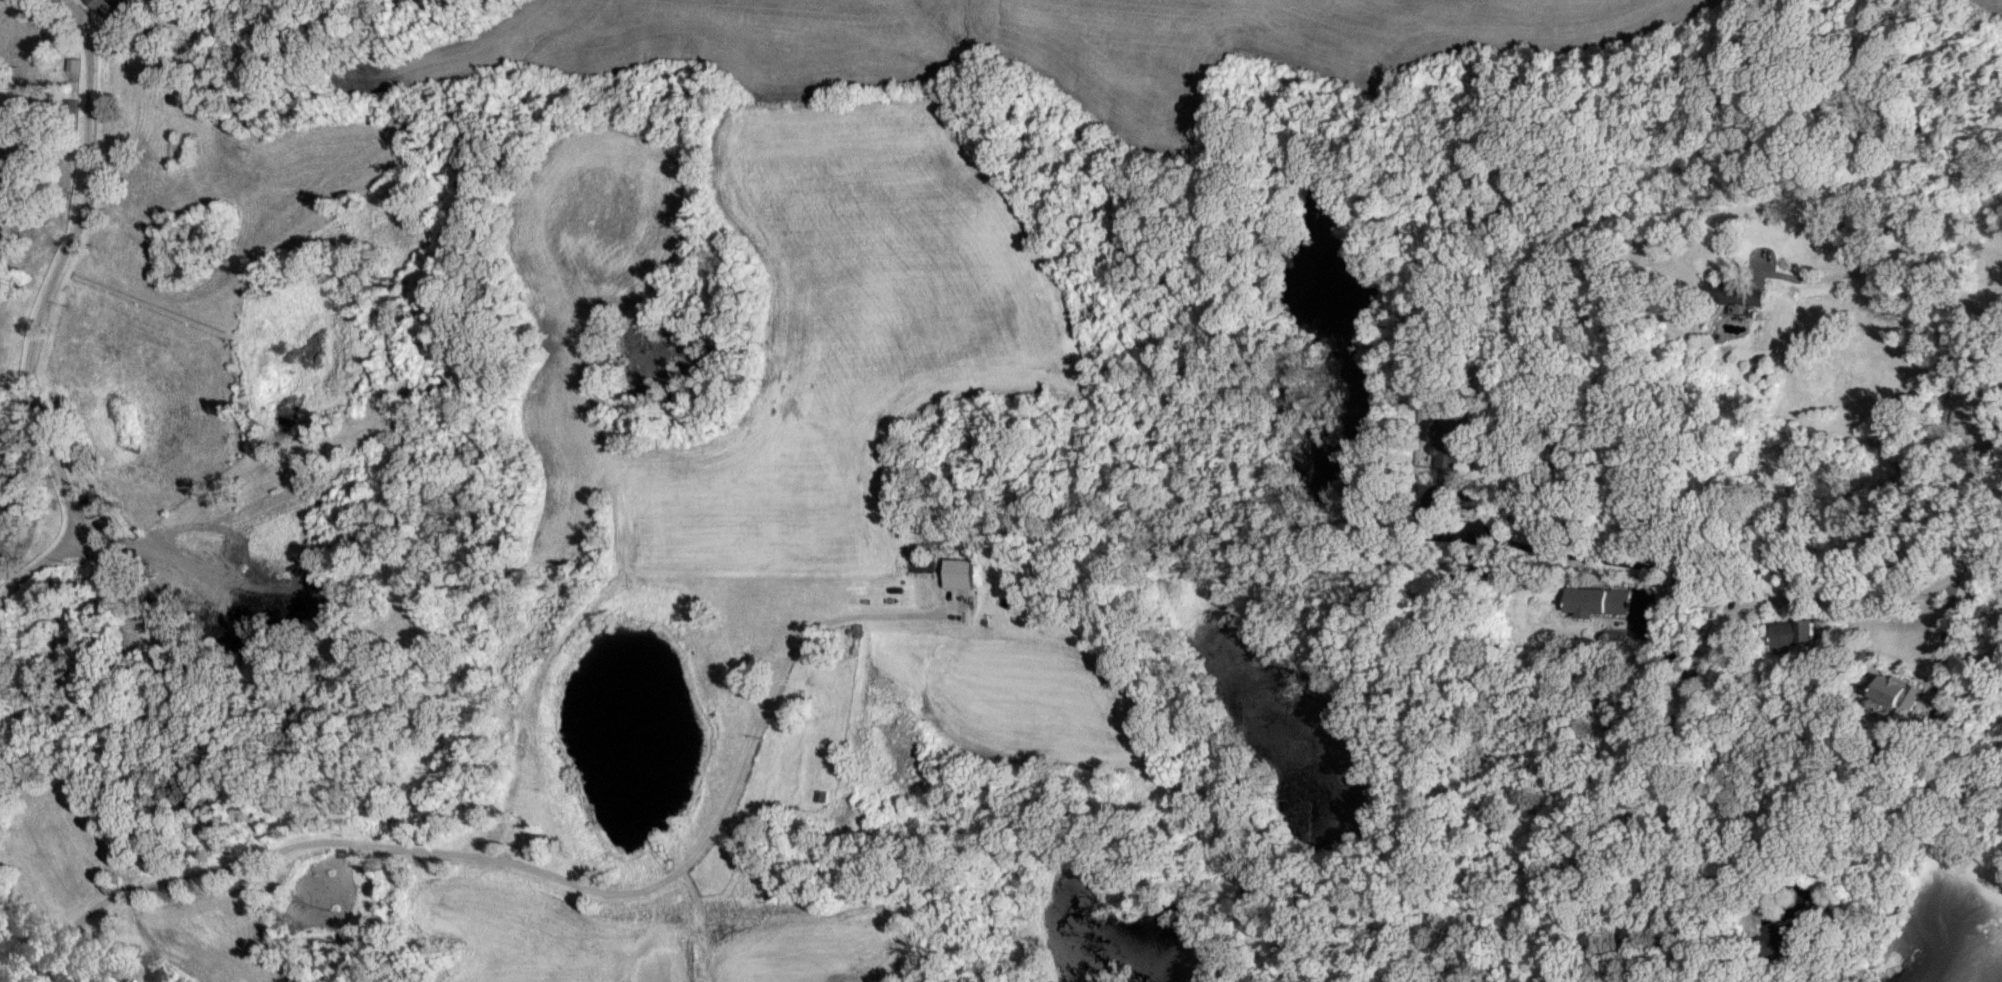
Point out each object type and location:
crop: (1988, 4)
building: (106, 5)
crop: (1031, 41)
building: (75, 64)
road: (1894, 263)
building: (1736, 292)
road: (38, 312)
crop: (778, 324)
building: (1451, 439)
road: (1974, 472)
road: (1592, 557)
building: (960, 573)
building: (1596, 601)
road: (1724, 621)
building: (1792, 632)
road: (1940, 642)
building: (1898, 691)
crop: (979, 711)
road: (560, 876)
road: (1789, 913)
road: (50, 928)
crop: (537, 935)
building: (1790, 936)
crop: (210, 940)
crop: (802, 940)

